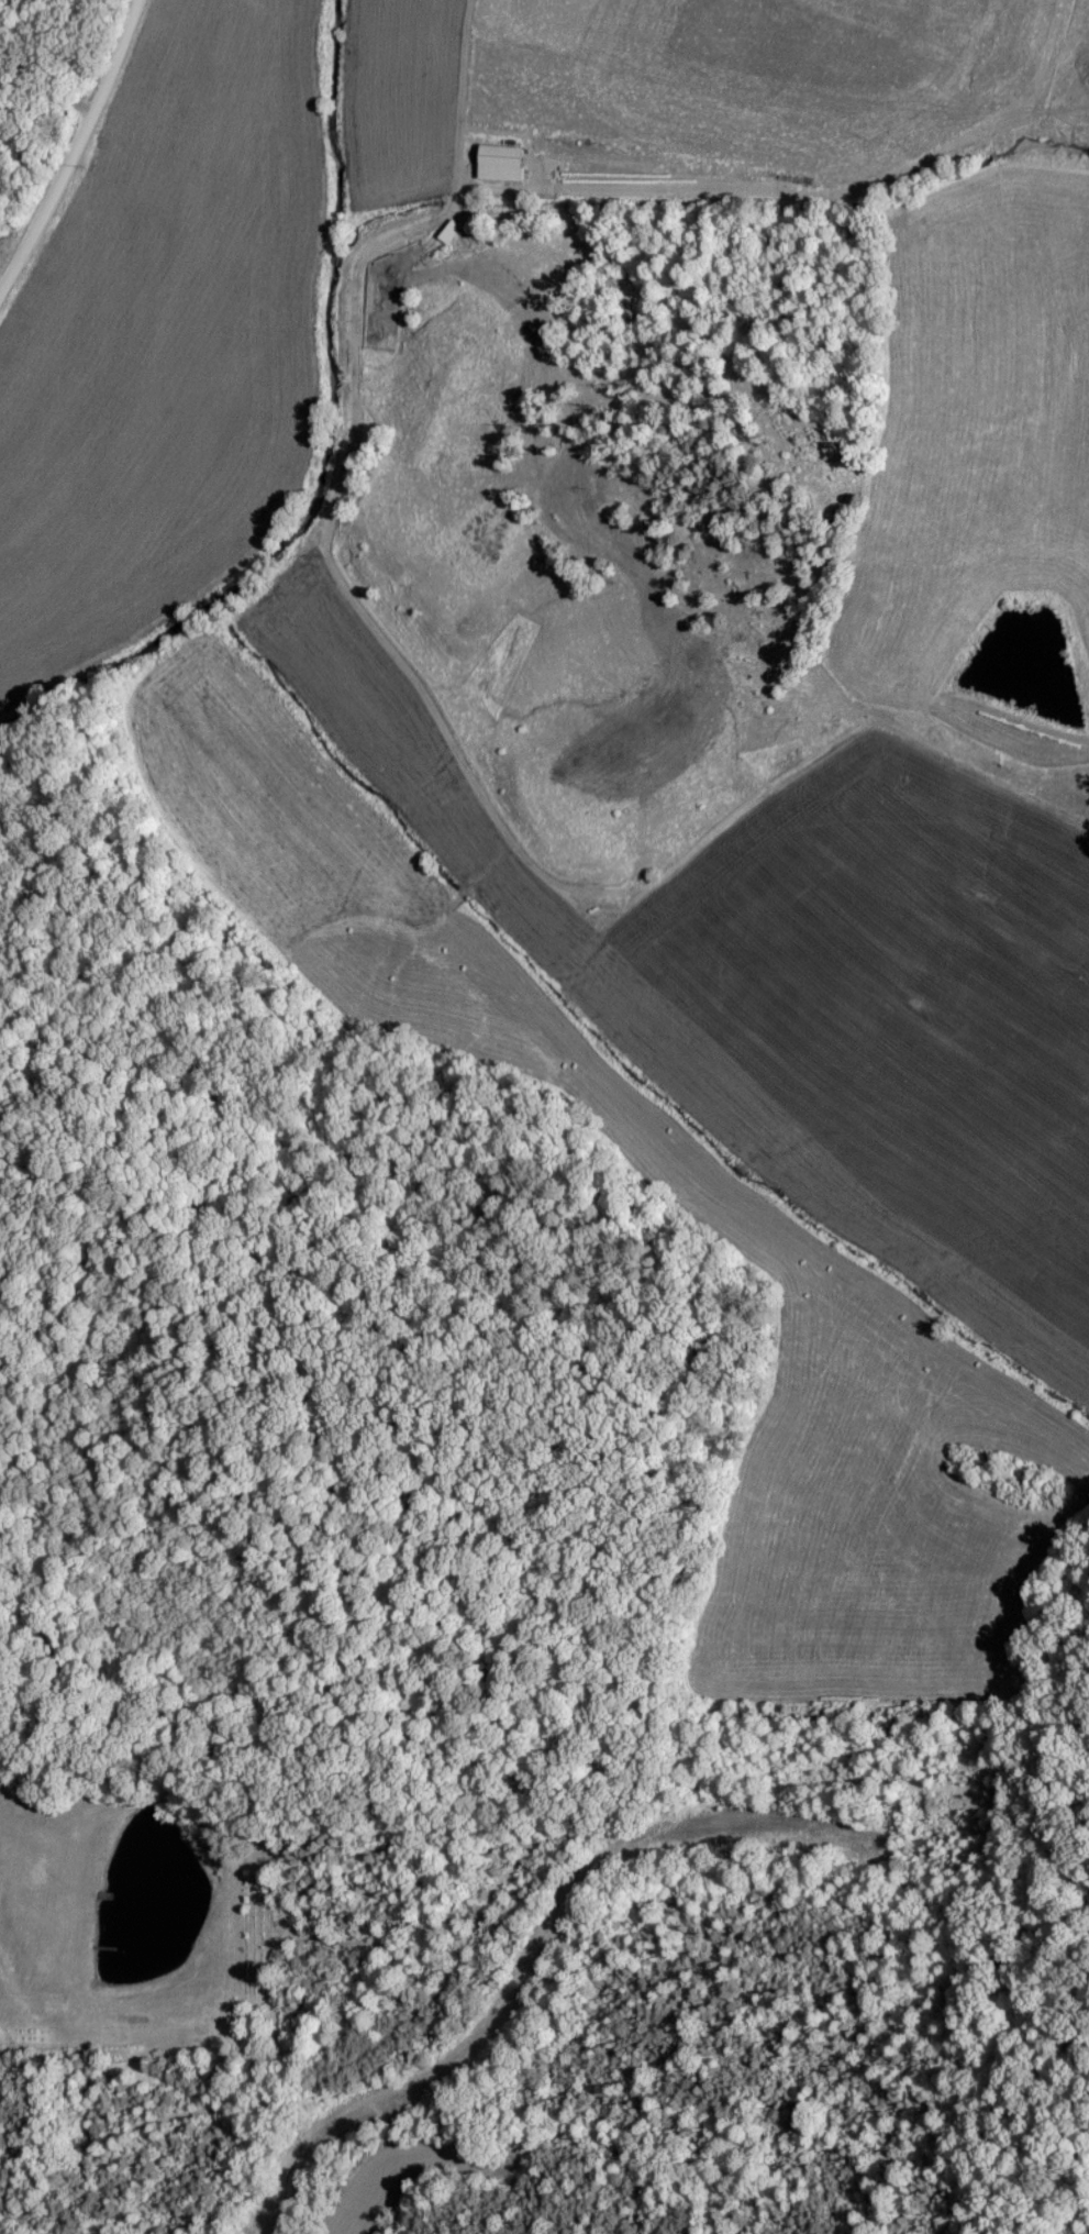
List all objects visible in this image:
road: (75, 146)
building: (499, 162)

